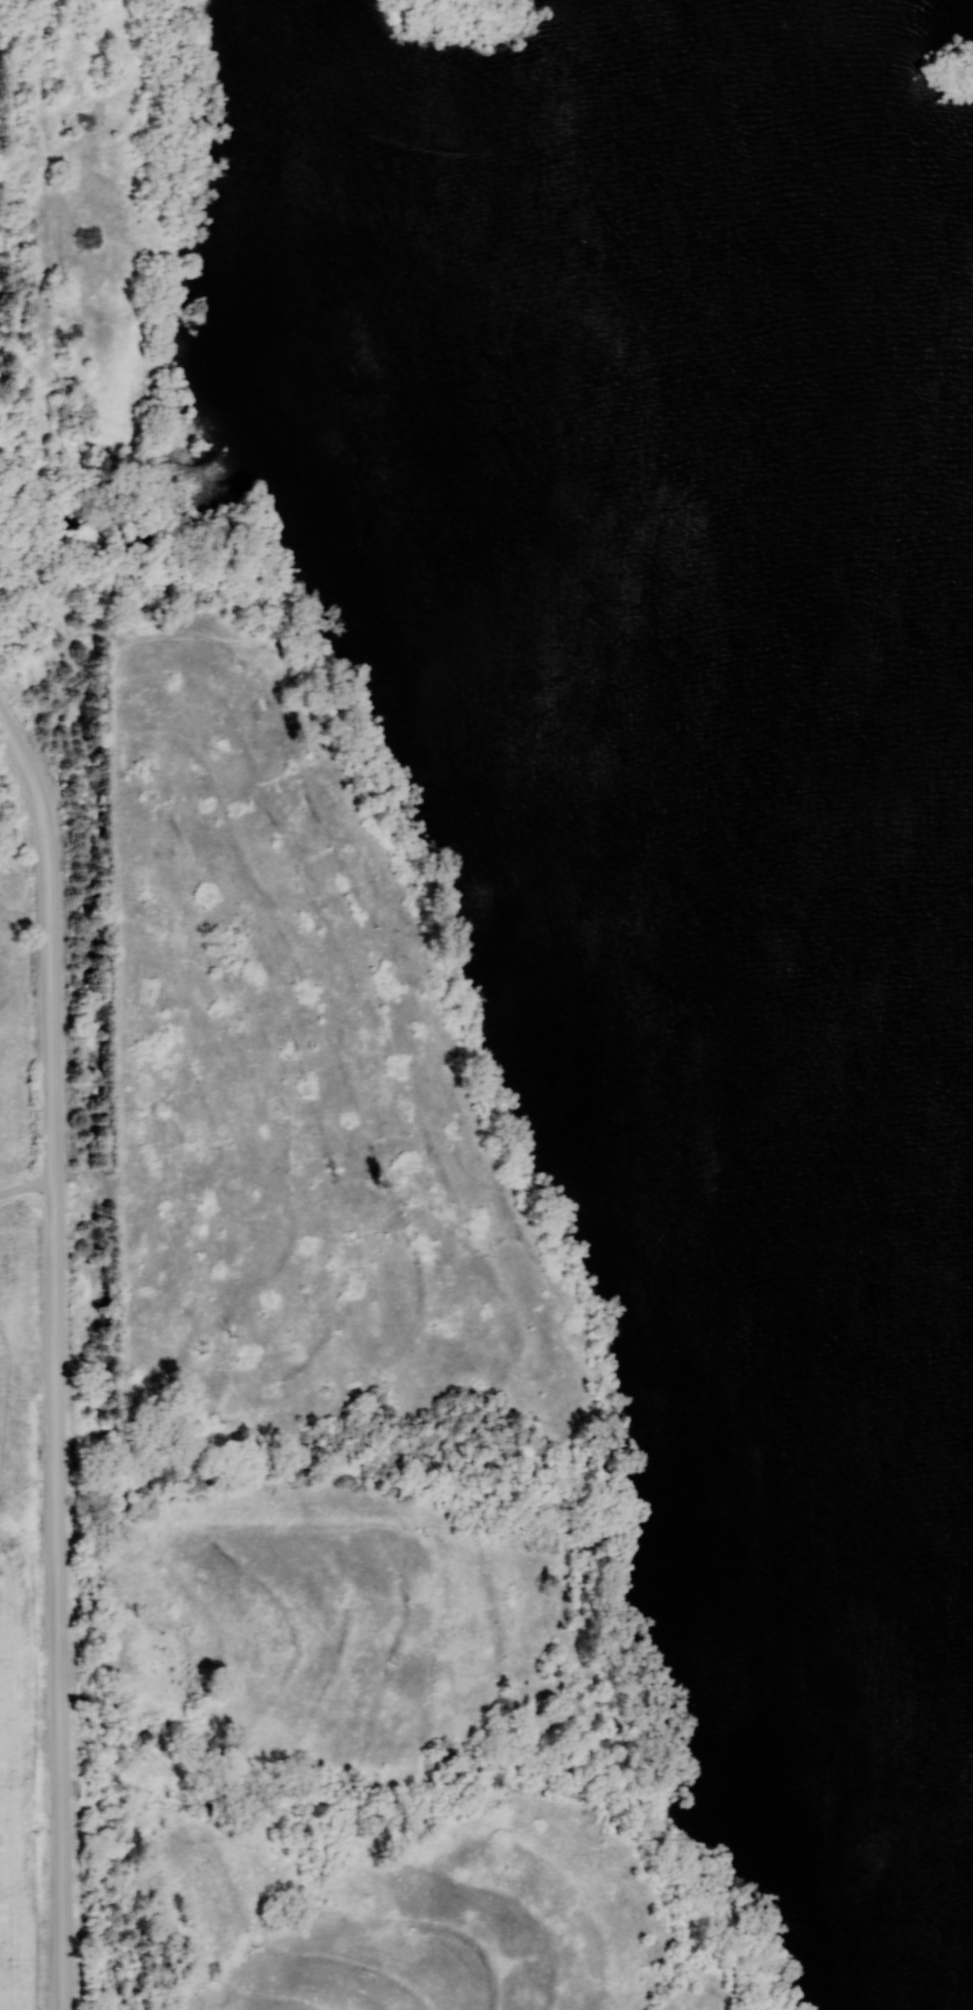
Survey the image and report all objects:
road: (32, 784)
park: (678, 796)
road: (53, 1430)

